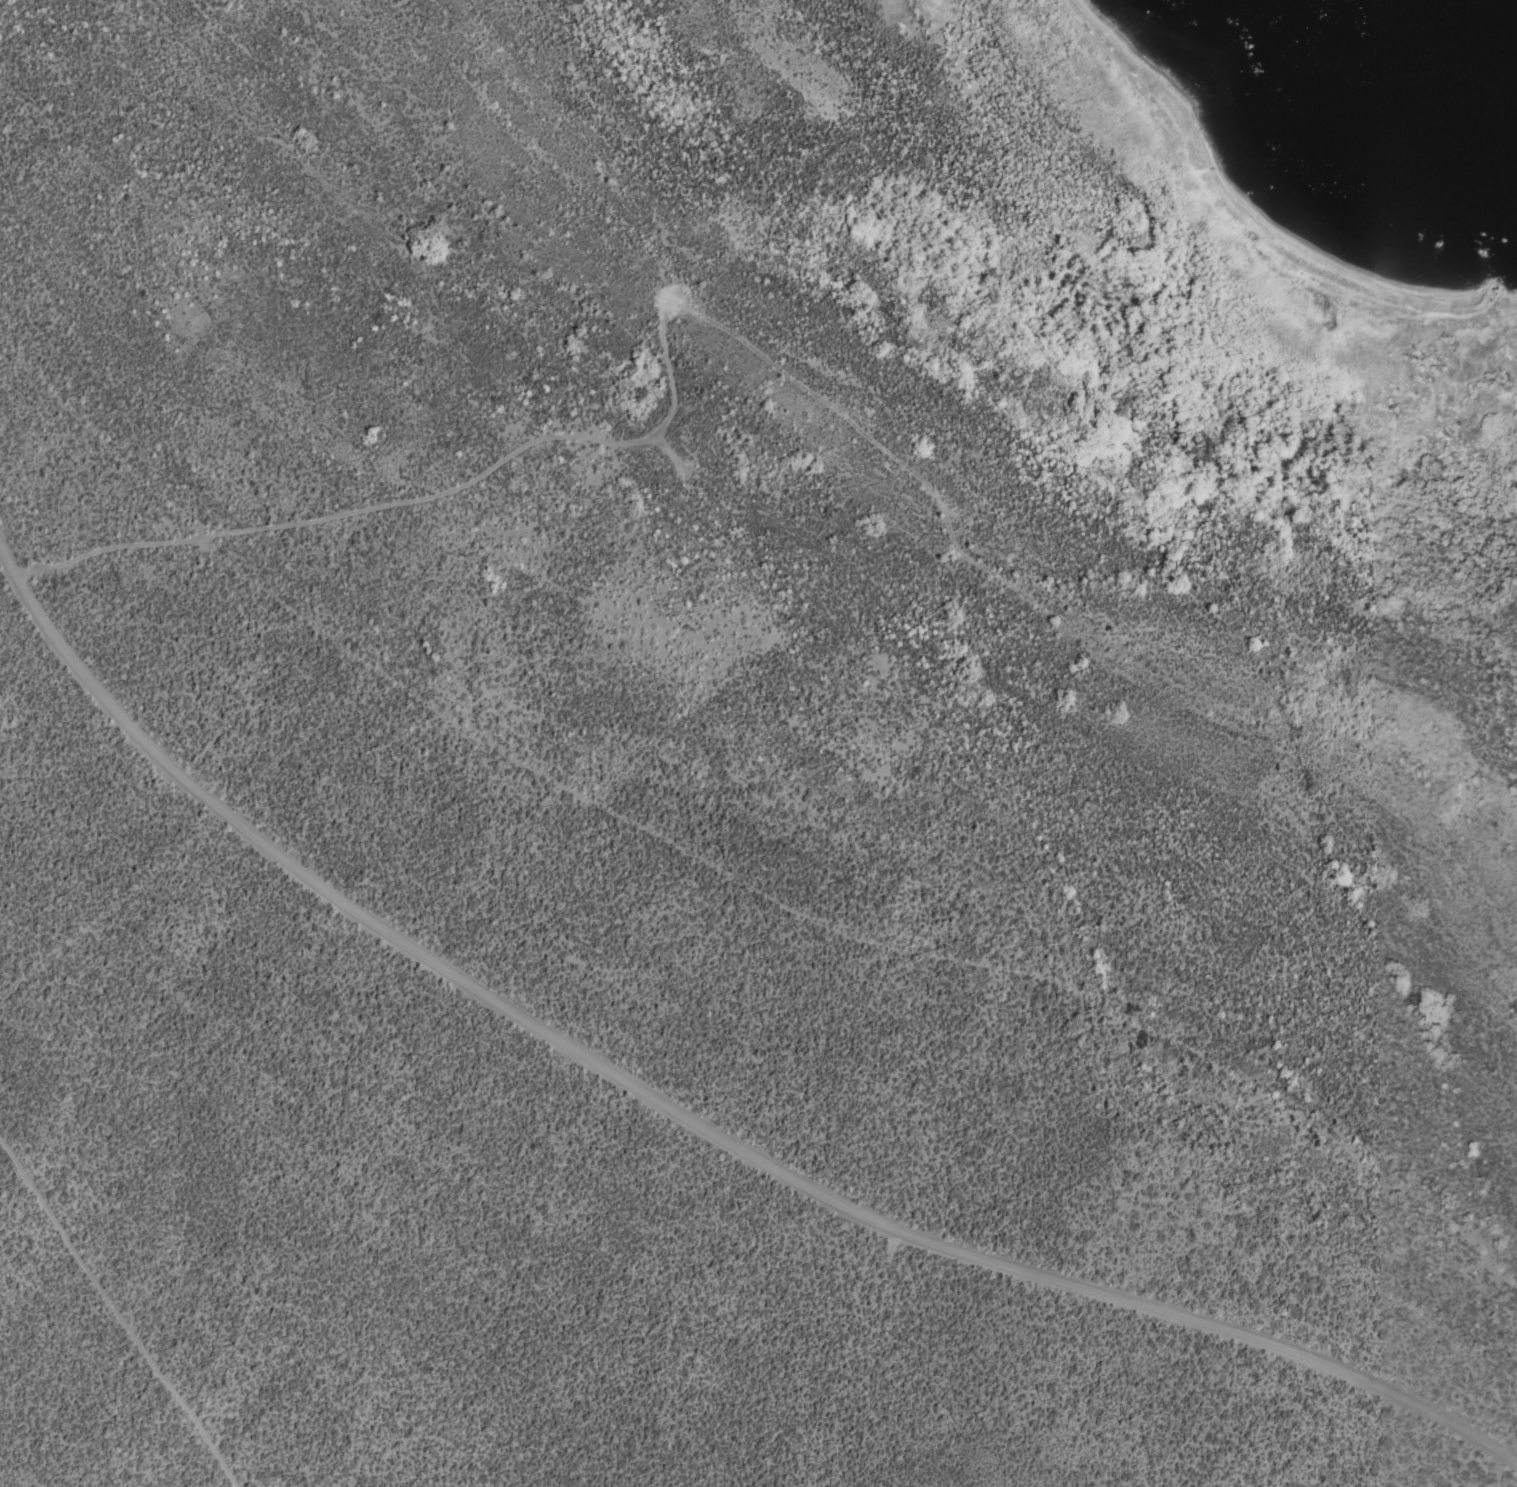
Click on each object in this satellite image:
road: (686, 1125)
road: (117, 1317)

